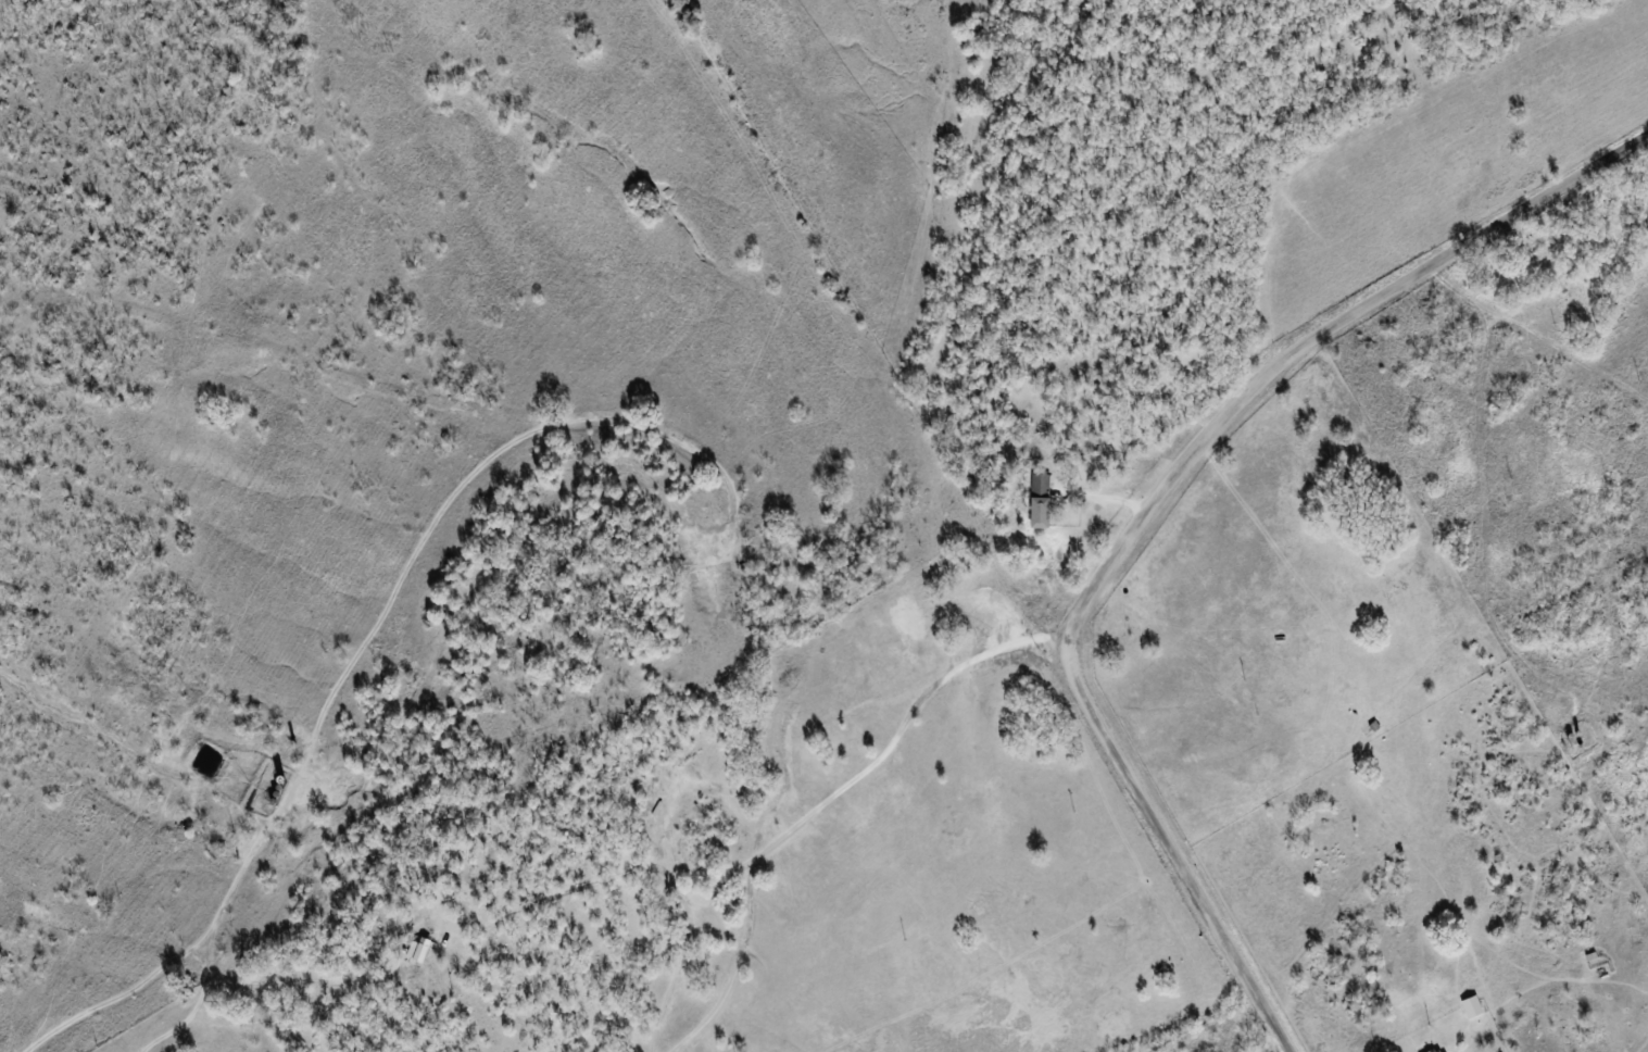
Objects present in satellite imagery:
building: (1037, 502)
road: (1150, 504)
road: (827, 800)
building: (417, 950)
building: (1470, 1007)
road: (1184, 1017)
building: (1435, 1050)

